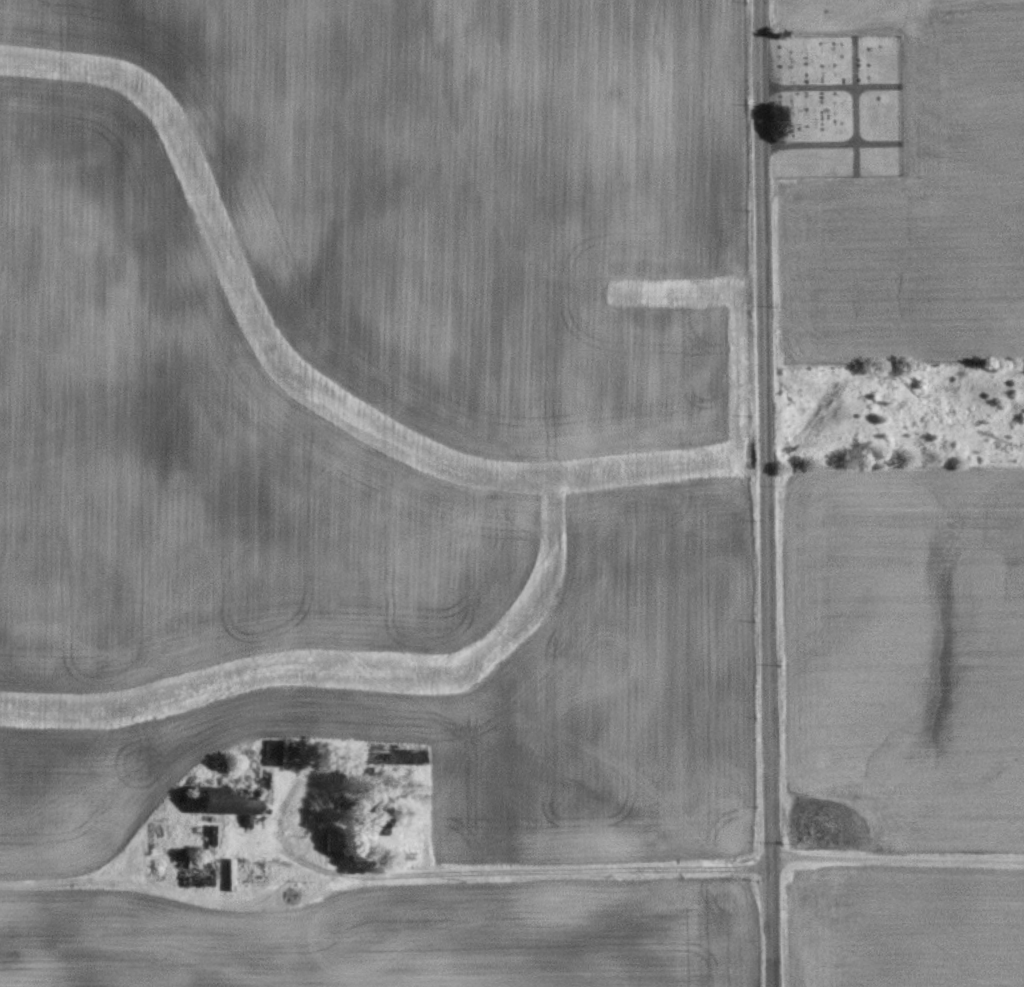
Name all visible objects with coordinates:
park: (838, 103)
road: (767, 493)
building: (271, 751)
building: (400, 758)
building: (227, 800)
building: (333, 841)
road: (682, 867)
building: (249, 870)

